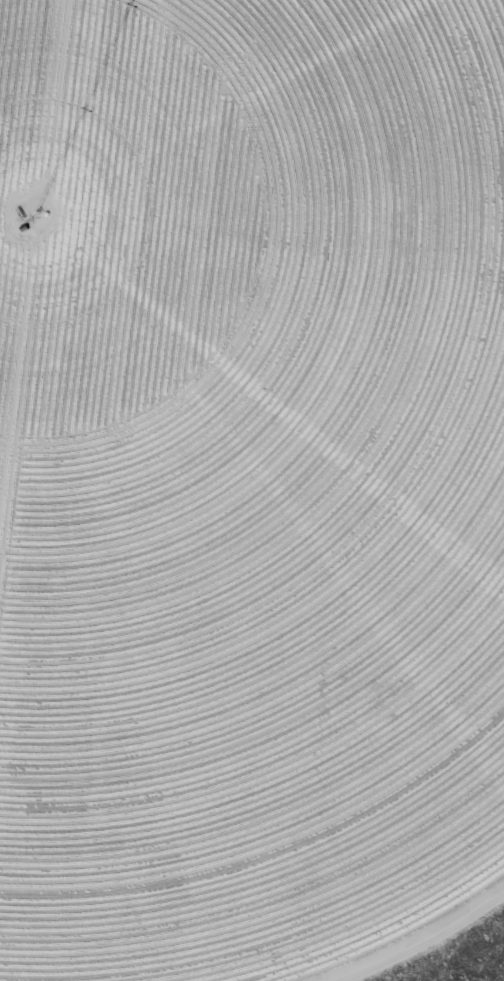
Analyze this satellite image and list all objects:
road: (76, 829)

